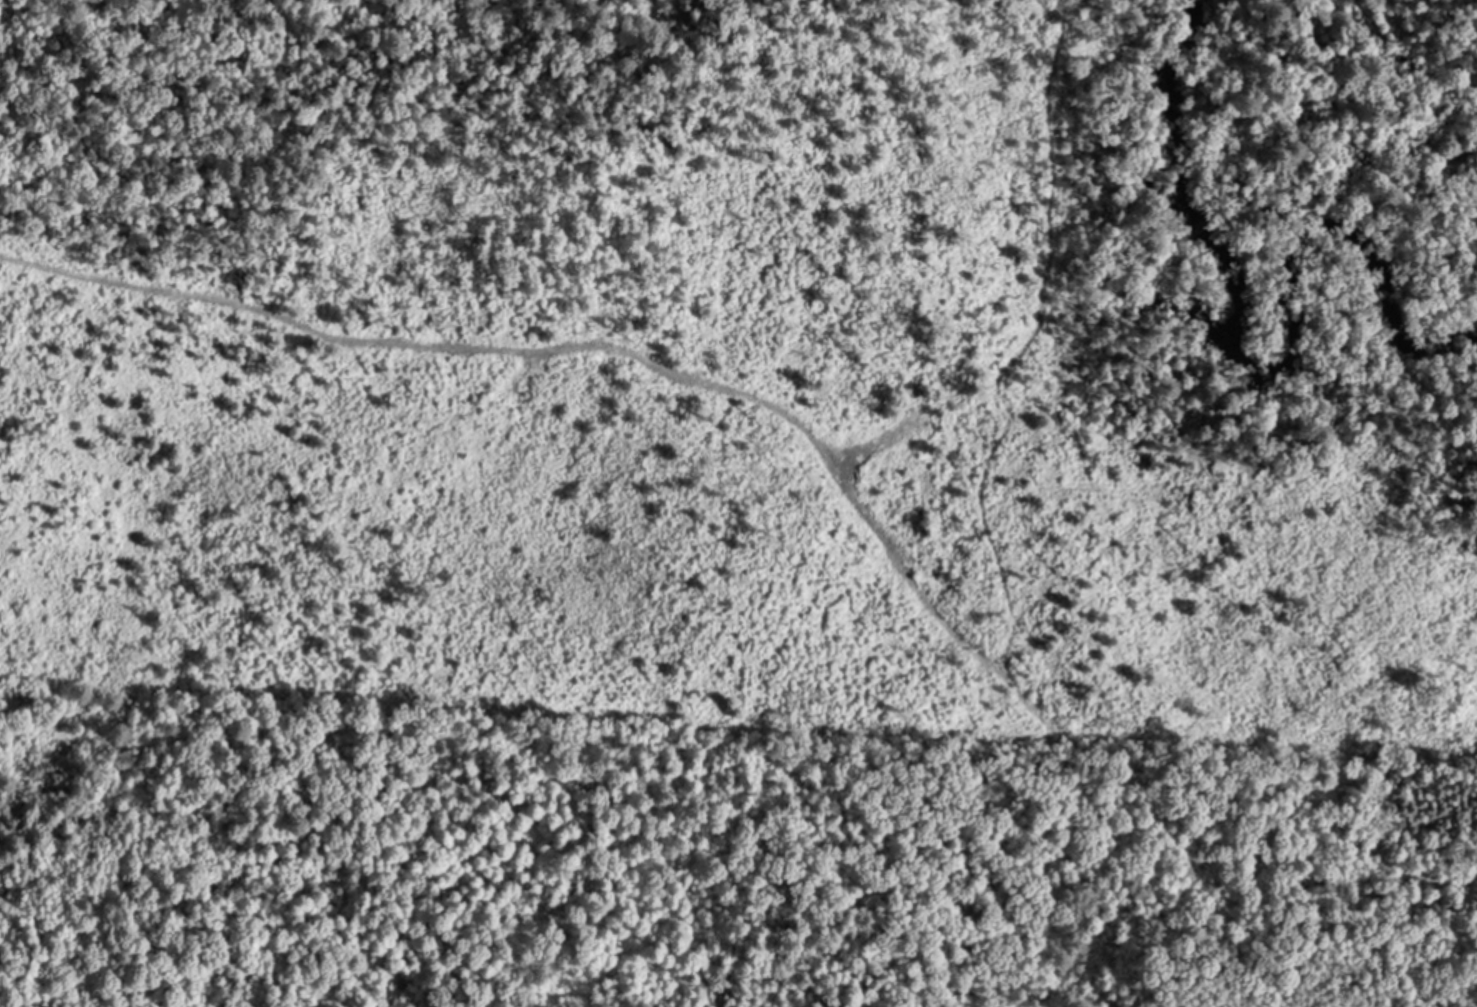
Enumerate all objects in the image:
park: (858, 13)
river: (1342, 111)

